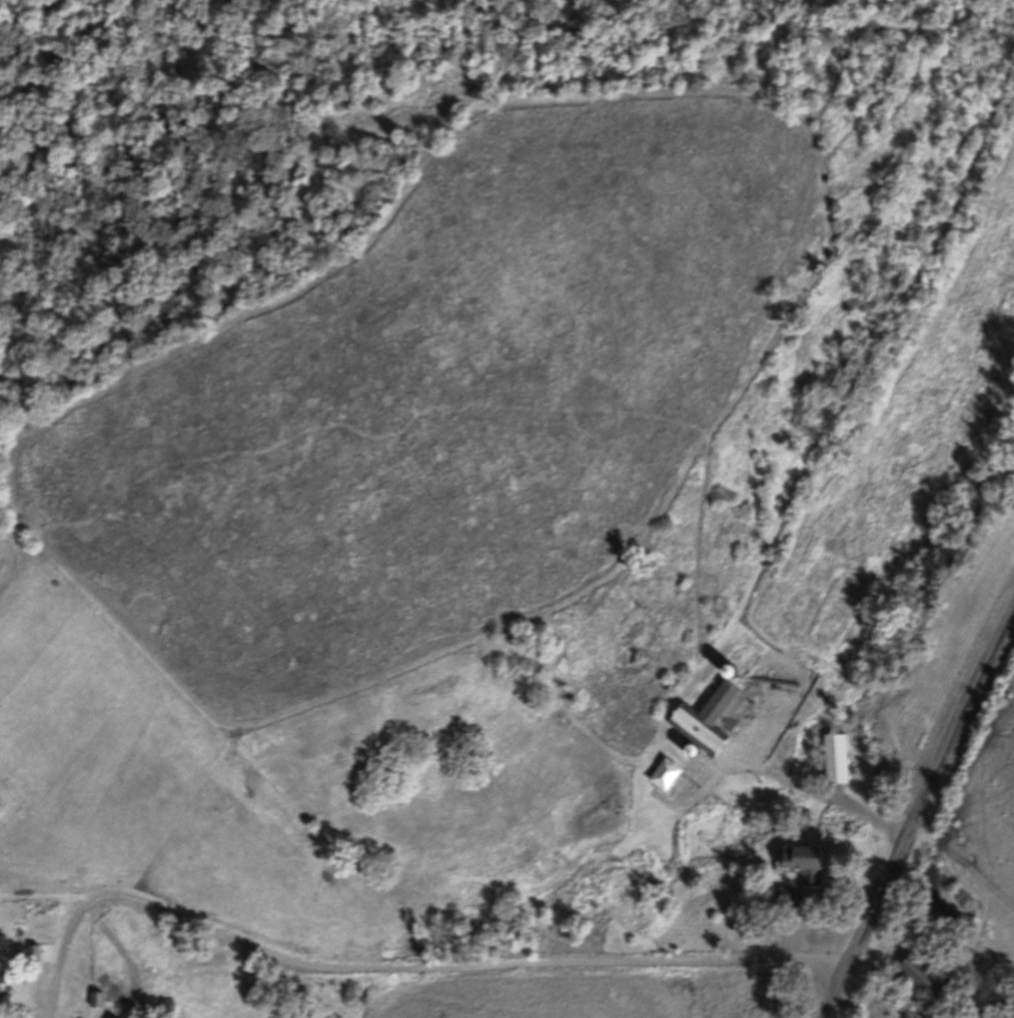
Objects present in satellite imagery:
building: (712, 716)
building: (838, 758)
building: (667, 772)
road: (918, 816)
building: (806, 862)
building: (783, 899)
road: (64, 949)
road: (127, 957)
road: (469, 968)
building: (3, 976)
building: (930, 981)
building: (98, 999)
building: (129, 1015)
building: (113, 1017)

